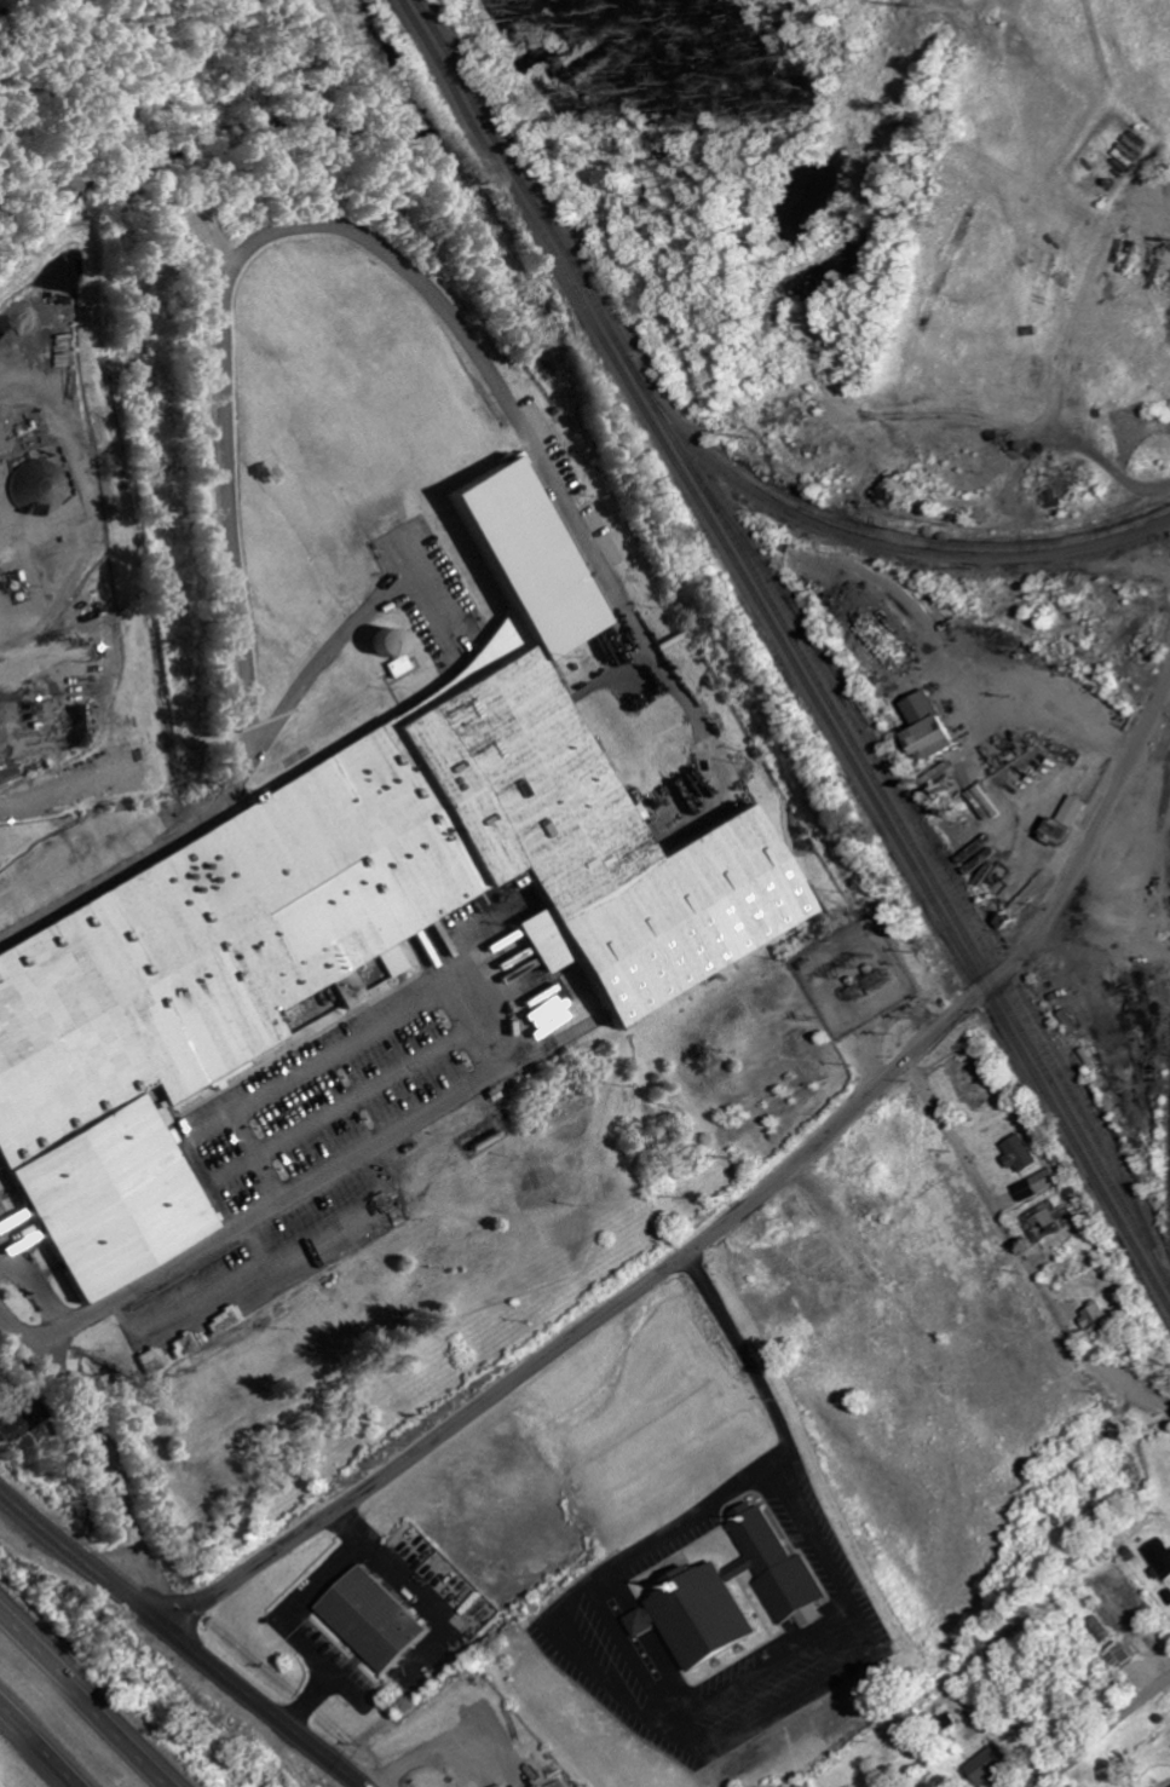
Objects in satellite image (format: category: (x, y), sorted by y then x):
railway: (886, 543)
building: (396, 644)
railway: (786, 651)
building: (936, 726)
building: (1072, 820)
building: (356, 910)
road: (1105, 945)
building: (1024, 1155)
building: (1042, 1186)
building: (1053, 1217)
road: (736, 1218)
road: (1020, 1251)
building: (1100, 1319)
building: (27, 1423)
road: (100, 1442)
building: (1162, 1560)
building: (738, 1597)
building: (1129, 1613)
building: (381, 1621)
building: (1099, 1632)
road: (178, 1639)
building: (1124, 1660)
road: (82, 1704)
road: (1101, 1731)
road: (45, 1741)
building: (991, 1768)

